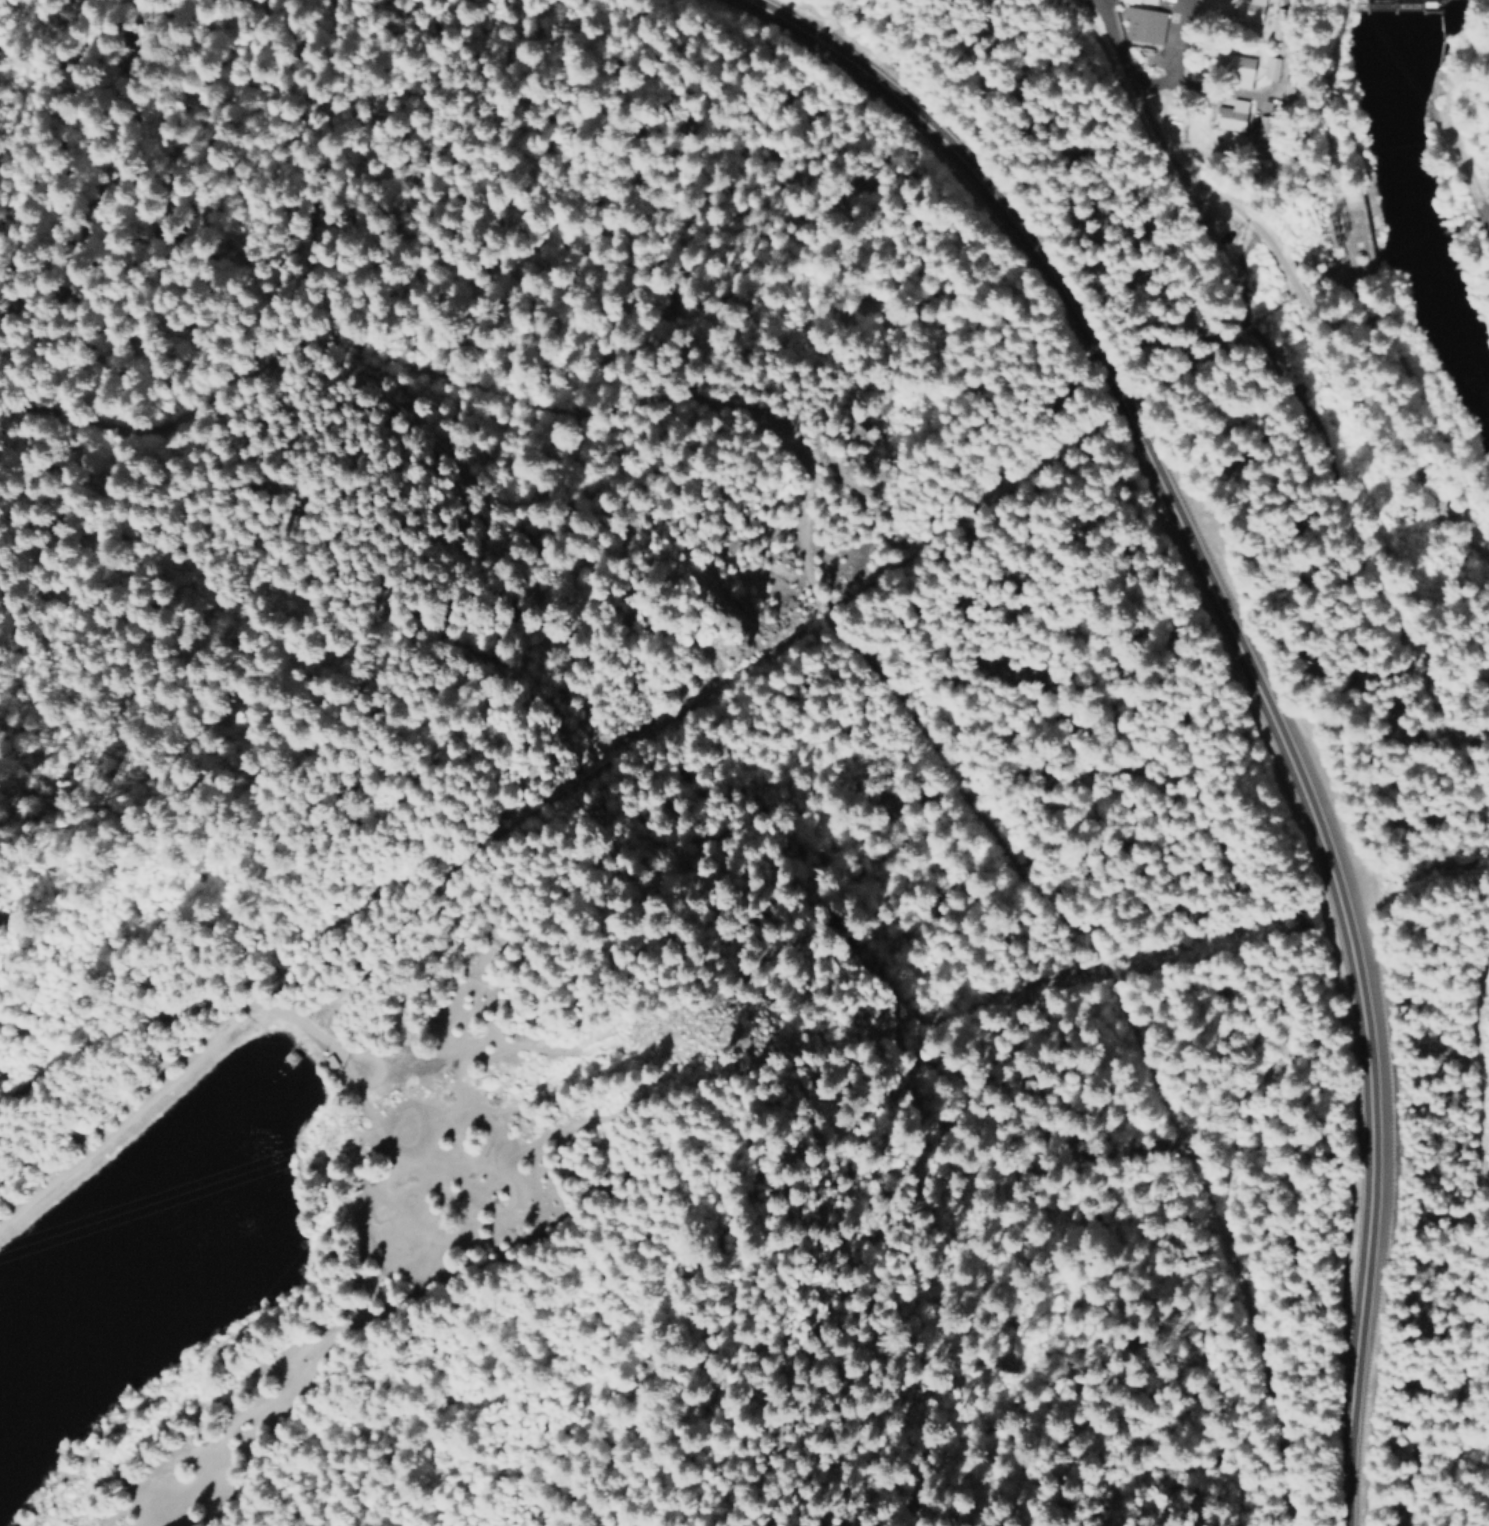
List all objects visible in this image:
building: (1138, 2)
dam: (1397, 6)
building: (1252, 12)
building: (1140, 26)
road: (1181, 62)
building: (1277, 69)
building: (1241, 73)
road: (1139, 93)
building: (1231, 117)
road: (1469, 169)
river: (1410, 217)
road: (1338, 384)
road: (823, 625)
road: (1245, 678)
road: (119, 1032)
road: (133, 1108)

